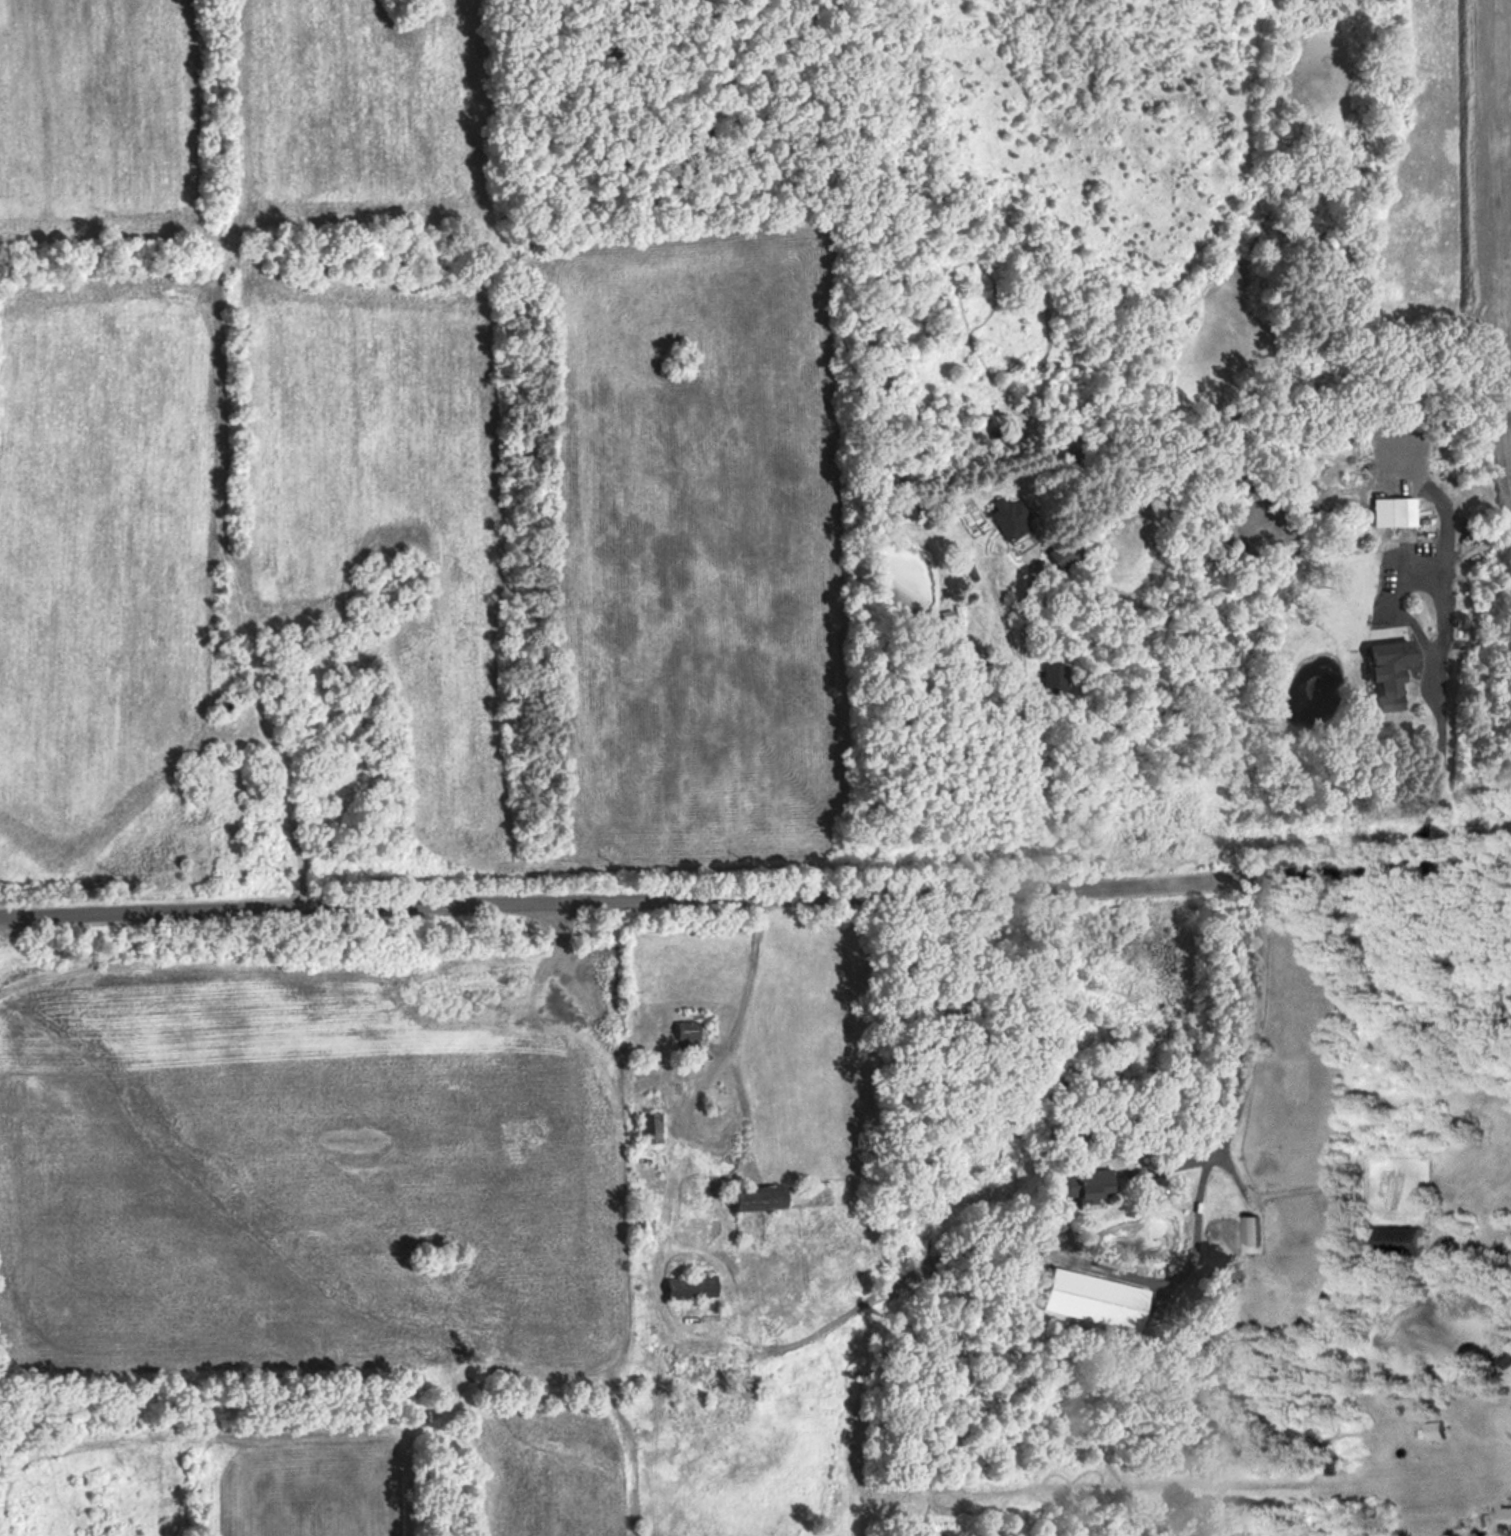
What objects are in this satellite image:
building: (904, 509)
building: (1391, 511)
building: (972, 517)
building: (1008, 518)
road: (1439, 650)
building: (1384, 677)
building: (1053, 679)
road: (1026, 733)
road: (755, 898)
building: (684, 1034)
road: (1250, 1058)
road: (696, 1080)
building: (649, 1127)
road: (744, 1143)
building: (1088, 1183)
building: (752, 1198)
building: (1251, 1229)
building: (1402, 1239)
building: (688, 1286)
building: (1435, 1429)

